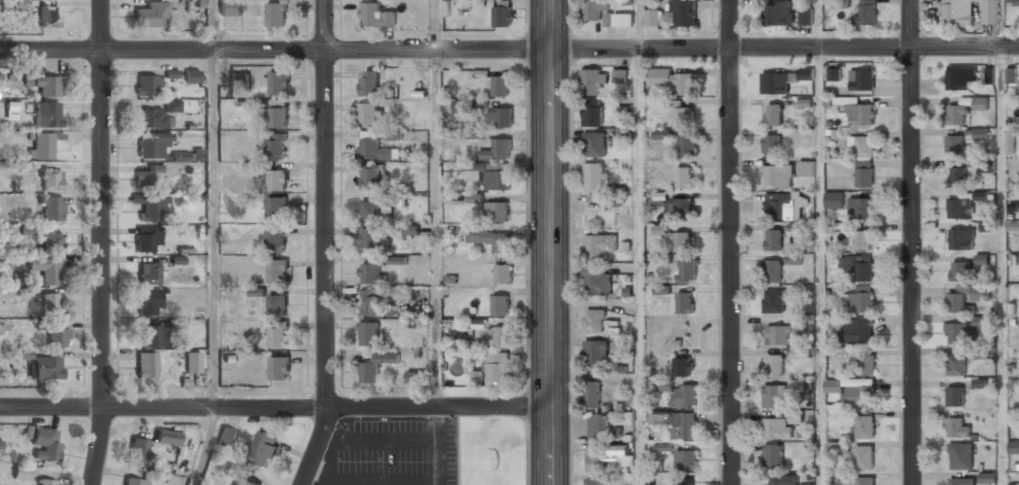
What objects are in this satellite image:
building: (1014, 2)
building: (14, 4)
building: (230, 8)
building: (593, 10)
building: (683, 11)
building: (503, 12)
building: (865, 12)
building: (958, 12)
building: (990, 12)
building: (276, 13)
building: (777, 13)
building: (375, 14)
building: (152, 15)
building: (48, 16)
building: (652, 17)
building: (806, 17)
building: (619, 19)
road: (1002, 23)
road: (639, 24)
road: (818, 24)
road: (211, 25)
road: (436, 25)
road: (509, 50)
building: (834, 74)
building: (1010, 74)
building: (620, 75)
building: (192, 76)
building: (239, 78)
building: (782, 79)
building: (862, 79)
building: (960, 79)
building: (674, 80)
building: (591, 81)
building: (276, 82)
building: (369, 82)
building: (43, 83)
building: (500, 85)
building: (146, 86)
building: (172, 106)
building: (964, 108)
building: (11, 111)
building: (593, 112)
building: (859, 113)
building: (368, 114)
building: (773, 114)
building: (47, 115)
building: (683, 116)
building: (278, 117)
building: (501, 117)
building: (152, 119)
building: (475, 133)
building: (662, 134)
building: (1011, 140)
building: (594, 144)
building: (688, 144)
building: (152, 145)
building: (771, 145)
building: (954, 145)
building: (42, 146)
building: (277, 146)
building: (863, 146)
building: (374, 147)
building: (496, 149)
building: (988, 166)
building: (470, 167)
building: (807, 168)
building: (863, 174)
building: (371, 176)
building: (593, 176)
building: (778, 176)
building: (957, 176)
building: (684, 177)
building: (148, 178)
building: (497, 178)
building: (51, 179)
building: (277, 179)
building: (475, 198)
building: (834, 200)
building: (964, 204)
building: (778, 205)
building: (276, 207)
building: (679, 208)
building: (860, 208)
building: (52, 209)
building: (151, 209)
building: (371, 210)
building: (496, 211)
building: (1013, 226)
road: (435, 228)
road: (213, 229)
building: (411, 229)
building: (29, 230)
building: (275, 238)
building: (490, 238)
building: (677, 238)
building: (371, 239)
building: (960, 239)
building: (148, 240)
building: (773, 240)
building: (861, 240)
road: (101, 242)
road: (549, 242)
road: (730, 242)
road: (912, 242)
building: (51, 243)
road: (327, 244)
building: (599, 245)
building: (794, 259)
building: (982, 259)
building: (397, 260)
road: (821, 266)
road: (1001, 266)
road: (640, 267)
building: (857, 267)
building: (46, 269)
building: (278, 270)
building: (687, 270)
building: (772, 270)
building: (958, 270)
building: (149, 273)
building: (371, 274)
building: (502, 274)
building: (597, 281)
building: (661, 290)
building: (257, 291)
building: (404, 292)
building: (966, 296)
building: (773, 300)
building: (860, 300)
building: (150, 302)
building: (370, 302)
building: (685, 302)
building: (277, 303)
building: (51, 305)
building: (500, 305)
building: (593, 321)
building: (858, 331)
building: (368, 333)
building: (781, 333)
building: (959, 333)
building: (277, 334)
building: (153, 336)
building: (501, 336)
building: (57, 337)
building: (801, 352)
building: (598, 353)
building: (980, 353)
building: (24, 354)
building: (192, 362)
building: (774, 364)
building: (866, 364)
building: (146, 365)
building: (956, 365)
building: (279, 366)
building: (376, 366)
building: (683, 366)
building: (47, 368)
building: (494, 368)
building: (415, 377)
building: (663, 384)
building: (853, 389)
building: (591, 394)
building: (685, 395)
building: (774, 395)
building: (954, 396)
road: (275, 408)
building: (627, 417)
building: (796, 417)
building: (677, 423)
building: (864, 425)
building: (600, 427)
building: (778, 427)
building: (957, 427)
building: (167, 437)
building: (226, 437)
building: (45, 444)
road: (207, 447)
building: (1013, 447)
building: (264, 448)
building: (837, 448)
building: (139, 449)
building: (773, 456)
building: (960, 456)
building: (864, 457)
building: (596, 459)
building: (685, 460)
building: (21, 471)
building: (987, 477)
building: (841, 478)
building: (596, 480)
building: (783, 480)
building: (866, 480)
building: (135, 481)
building: (961, 481)
building: (45, 482)
building: (243, 482)
building: (684, 483)
building: (807, 484)
building: (1014, 484)

